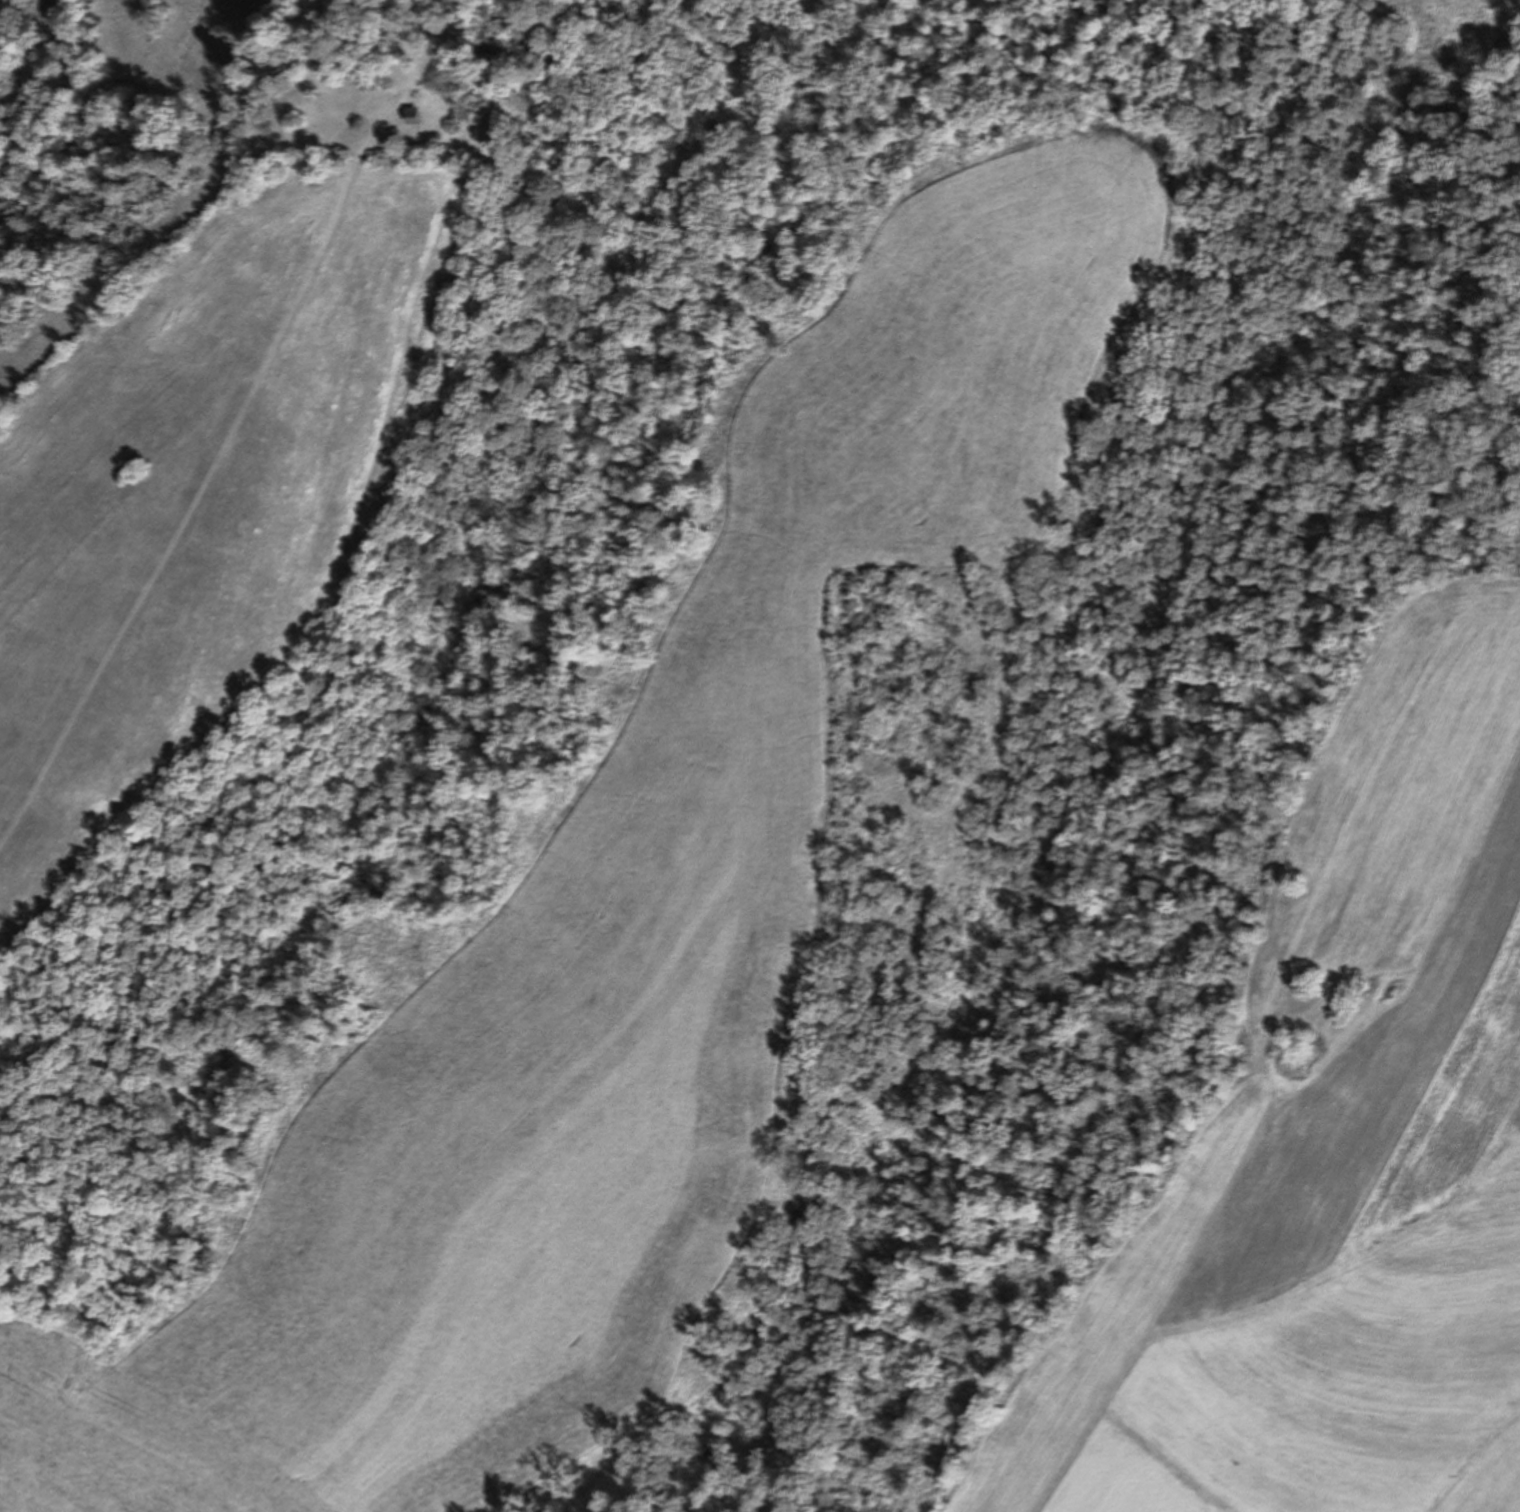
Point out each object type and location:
building: (409, 115)

